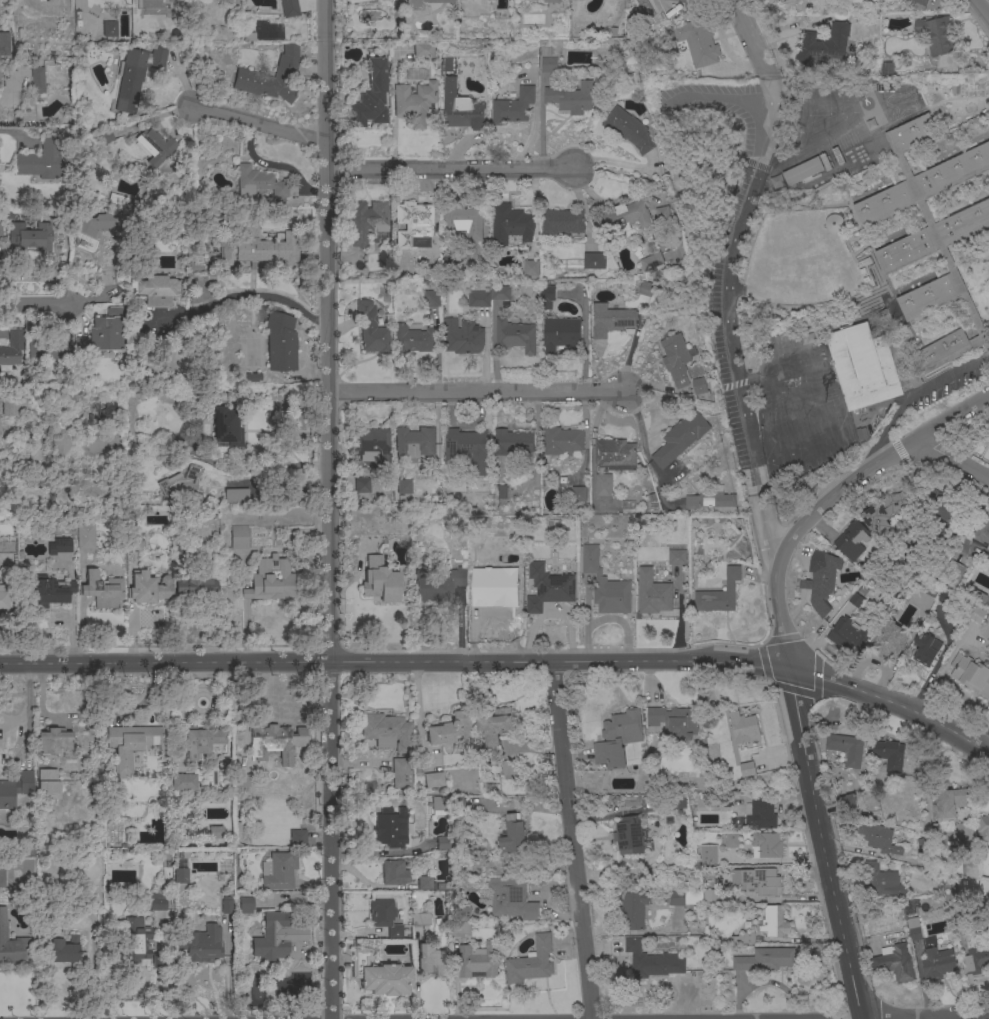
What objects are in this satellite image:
building: (550, 1)
building: (225, 2)
building: (922, 2)
building: (413, 7)
road: (735, 7)
building: (289, 8)
road: (983, 9)
building: (407, 26)
building: (110, 30)
building: (937, 35)
building: (698, 41)
building: (825, 44)
road: (750, 45)
building: (424, 50)
building: (549, 64)
building: (1, 74)
building: (137, 74)
building: (271, 77)
building: (38, 80)
building: (0, 81)
building: (0, 85)
road: (6, 97)
building: (371, 97)
building: (571, 97)
building: (415, 103)
building: (513, 106)
building: (461, 108)
building: (952, 113)
building: (629, 129)
road: (12, 131)
building: (105, 137)
building: (154, 147)
road: (806, 147)
building: (875, 149)
building: (44, 160)
road: (374, 169)
building: (803, 171)
building: (261, 184)
building: (115, 198)
building: (206, 214)
building: (663, 214)
building: (627, 216)
building: (464, 220)
building: (366, 221)
building: (413, 222)
building: (564, 222)
building: (93, 223)
building: (832, 223)
building: (511, 224)
building: (1, 228)
building: (29, 238)
building: (259, 248)
building: (594, 261)
building: (449, 262)
building: (653, 262)
building: (895, 262)
building: (531, 268)
building: (645, 289)
building: (154, 290)
road: (249, 296)
building: (488, 296)
building: (548, 296)
building: (432, 298)
road: (32, 303)
road: (723, 317)
building: (611, 320)
building: (371, 329)
road: (326, 330)
building: (561, 334)
building: (101, 335)
building: (515, 335)
building: (462, 336)
building: (413, 339)
building: (280, 342)
building: (49, 347)
building: (12, 348)
building: (678, 360)
building: (253, 377)
road: (933, 383)
building: (700, 386)
road: (475, 392)
building: (14, 407)
building: (104, 413)
building: (226, 427)
building: (679, 439)
building: (562, 440)
building: (415, 442)
building: (513, 442)
road: (881, 444)
building: (372, 446)
building: (467, 448)
building: (35, 449)
building: (615, 454)
road: (954, 459)
road: (869, 468)
building: (603, 484)
building: (361, 485)
building: (181, 486)
building: (404, 487)
building: (235, 494)
building: (578, 494)
building: (498, 496)
building: (717, 500)
building: (692, 501)
building: (885, 514)
building: (980, 535)
building: (239, 537)
building: (851, 538)
building: (86, 541)
building: (134, 544)
building: (63, 545)
building: (7, 548)
building: (677, 557)
building: (270, 580)
building: (821, 580)
building: (380, 581)
building: (604, 583)
building: (195, 585)
building: (438, 585)
building: (548, 587)
building: (149, 588)
building: (100, 590)
building: (47, 592)
building: (494, 593)
building: (652, 593)
building: (719, 594)
building: (3, 598)
road: (778, 610)
building: (976, 615)
building: (847, 635)
building: (892, 641)
building: (925, 652)
road: (393, 662)
building: (970, 675)
road: (890, 700)
road: (26, 710)
building: (674, 719)
building: (495, 724)
building: (743, 726)
building: (449, 728)
building: (387, 731)
building: (618, 737)
building: (54, 742)
building: (276, 742)
building: (203, 743)
building: (131, 745)
building: (845, 746)
building: (889, 753)
building: (747, 768)
building: (509, 769)
building: (401, 772)
building: (433, 779)
building: (241, 781)
building: (184, 782)
building: (48, 785)
building: (15, 790)
building: (948, 801)
building: (631, 802)
building: (438, 805)
building: (458, 805)
building: (848, 805)
building: (761, 813)
building: (390, 827)
building: (983, 827)
building: (964, 831)
building: (214, 833)
building: (513, 836)
building: (628, 836)
road: (823, 837)
building: (298, 838)
building: (732, 839)
road: (330, 840)
road: (571, 840)
building: (880, 841)
building: (767, 843)
building: (441, 844)
building: (708, 853)
building: (279, 871)
building: (393, 872)
building: (2, 874)
building: (180, 876)
building: (758, 880)
building: (881, 881)
building: (425, 882)
building: (709, 894)
building: (676, 896)
building: (511, 897)
building: (158, 902)
building: (245, 905)
building: (225, 906)
building: (632, 908)
building: (381, 912)
building: (774, 920)
building: (915, 932)
building: (272, 938)
building: (137, 942)
building: (199, 942)
building: (12, 944)
building: (66, 950)
building: (765, 958)
building: (651, 959)
building: (976, 959)
building: (479, 960)
building: (157, 961)
building: (430, 961)
building: (530, 961)
building: (896, 961)
building: (938, 961)
building: (378, 974)
road: (964, 1015)

